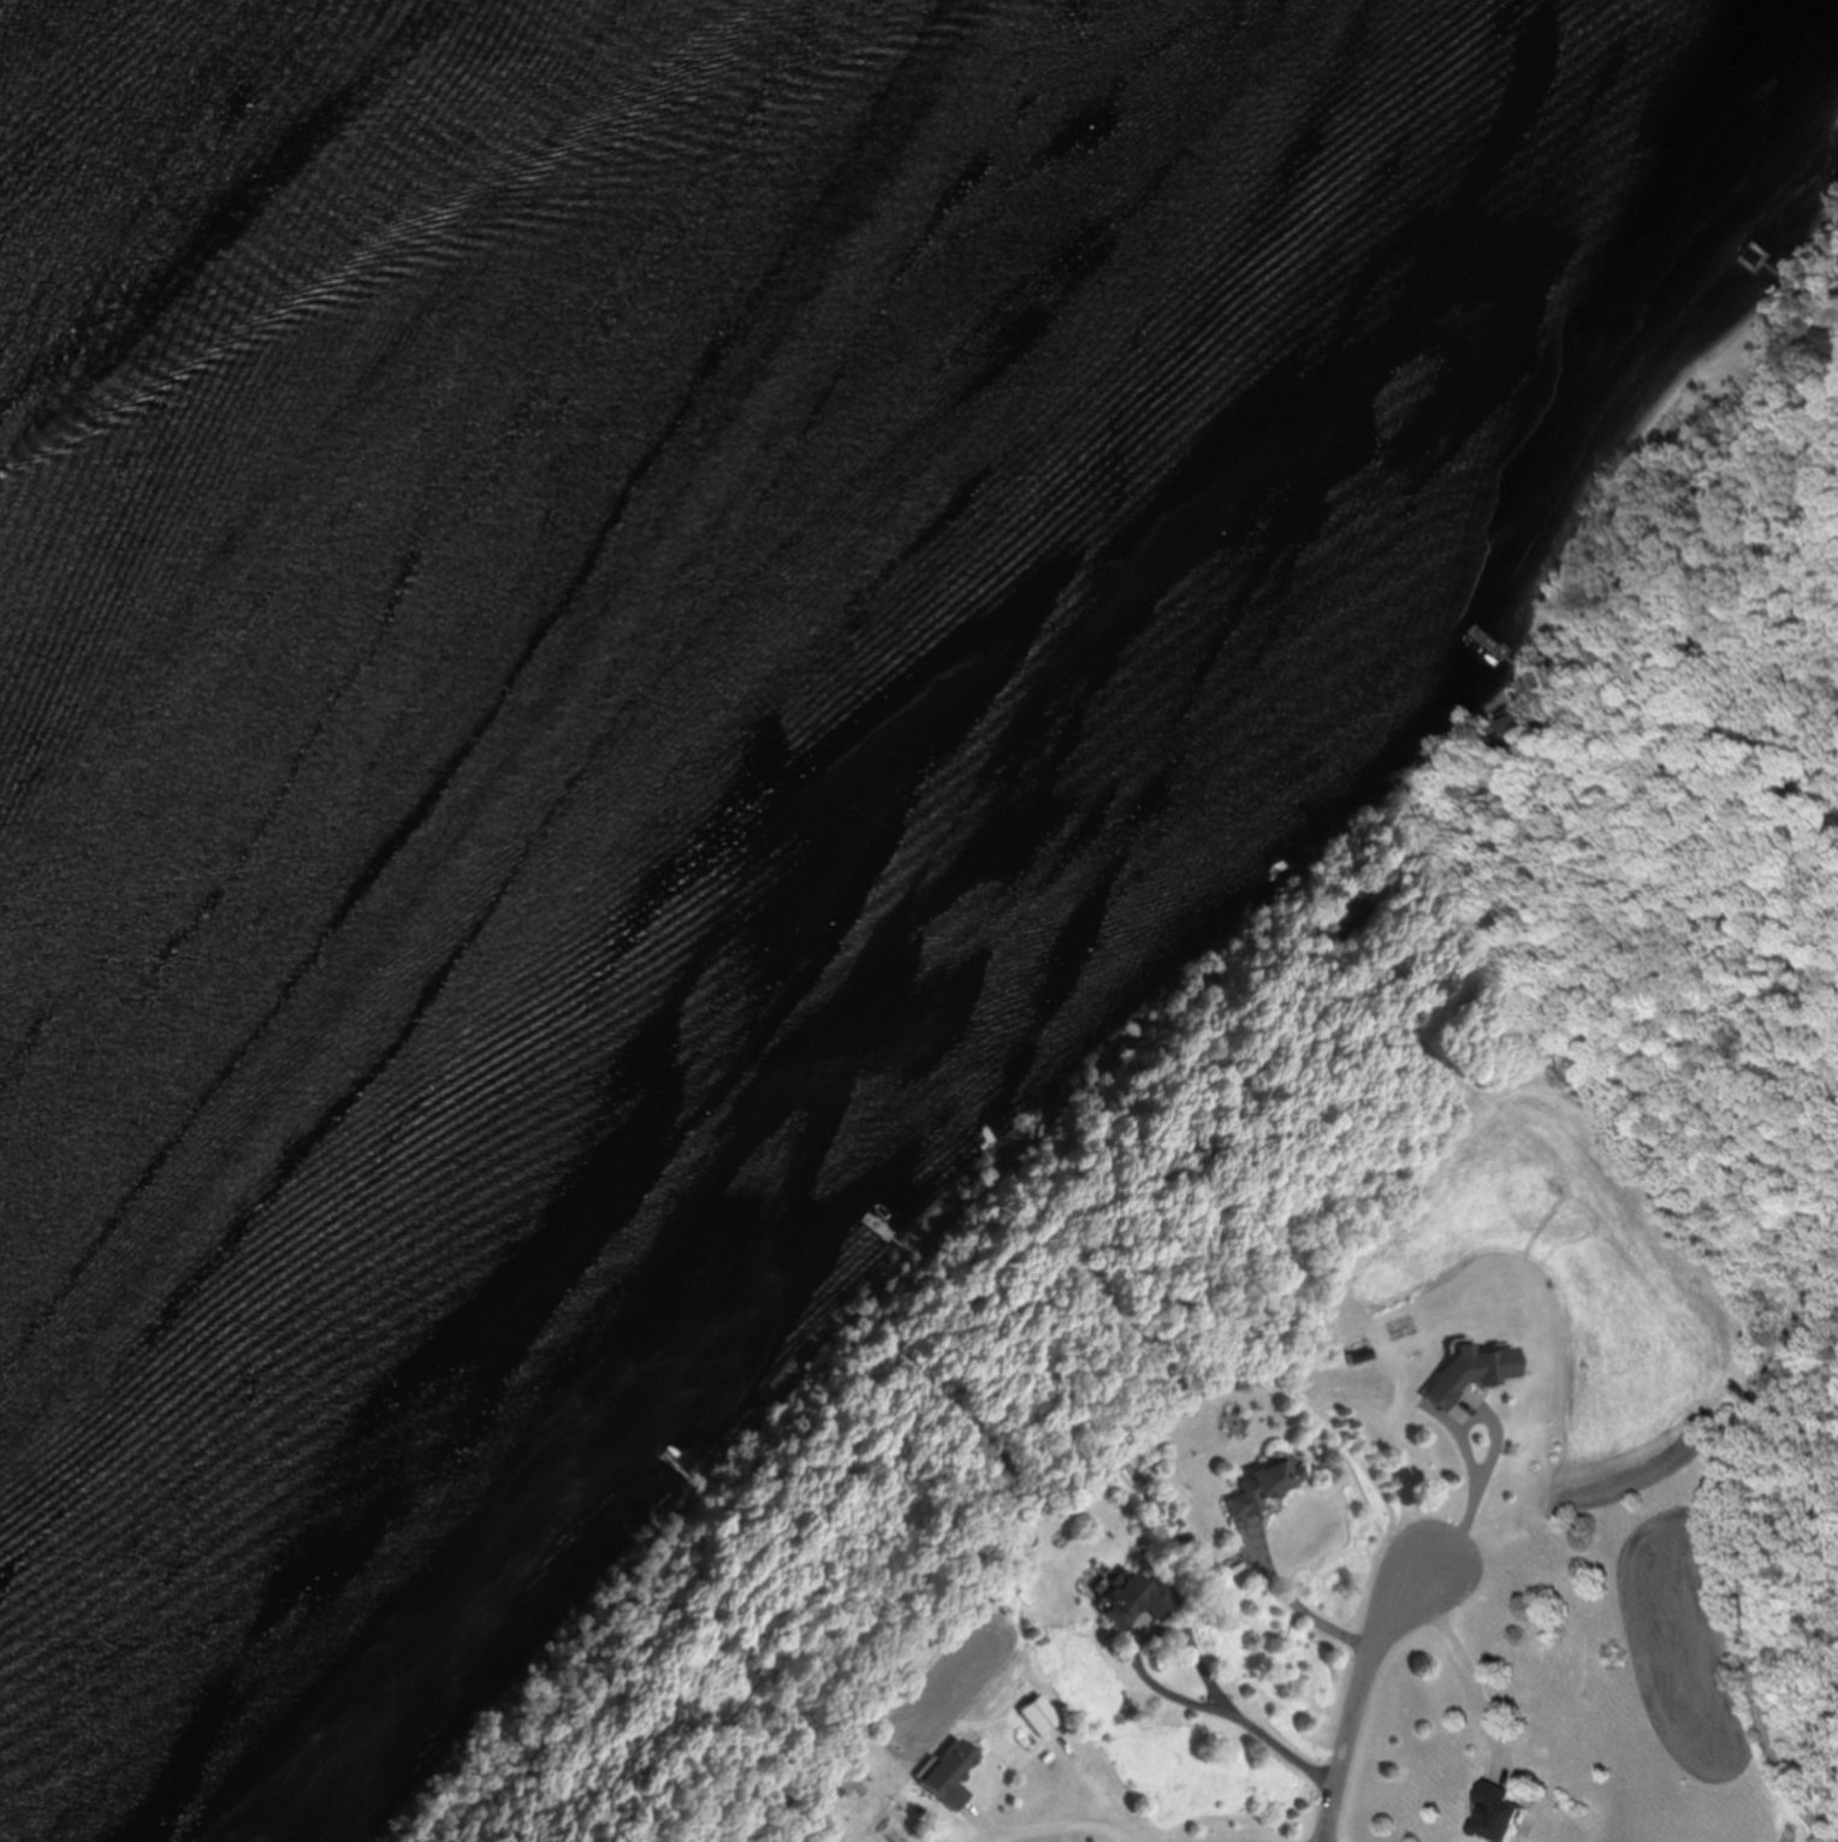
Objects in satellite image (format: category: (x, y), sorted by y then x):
river: (509, 587)
building: (1466, 1372)
road: (1494, 1451)
building: (1263, 1482)
building: (1131, 1600)
road: (1304, 1610)
road: (1472, 1672)
road: (1364, 1705)
road: (1231, 1713)
building: (1037, 1716)
building: (943, 1772)
road: (1071, 1824)

